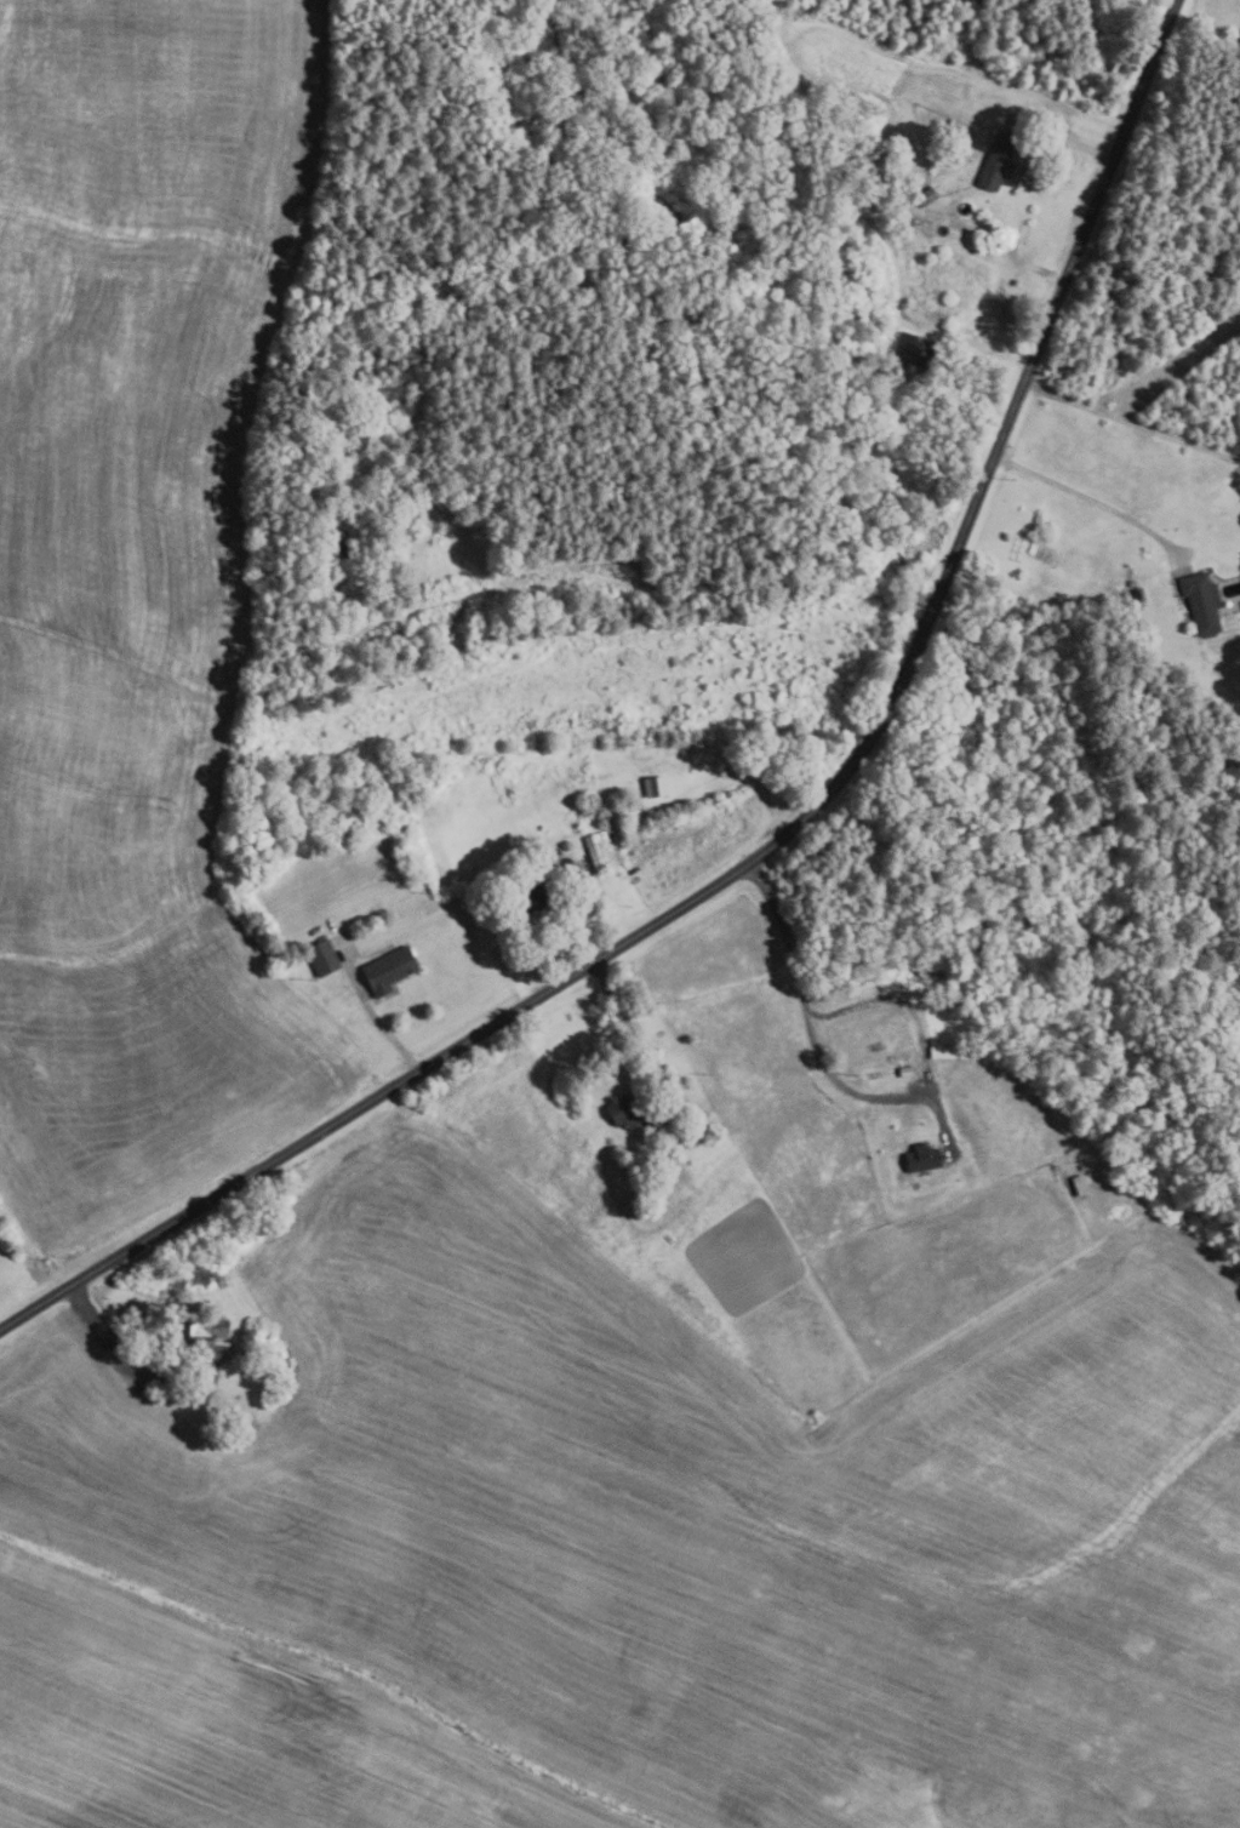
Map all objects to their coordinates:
building: (994, 164)
building: (924, 196)
building: (874, 333)
building: (912, 350)
road: (1130, 423)
road: (1091, 499)
building: (342, 547)
building: (1199, 602)
building: (1206, 699)
building: (657, 787)
building: (402, 827)
road: (784, 834)
building: (566, 845)
building: (602, 851)
building: (537, 896)
road: (584, 935)
building: (324, 959)
building: (389, 970)
road: (616, 1007)
road: (807, 1015)
road: (377, 1024)
building: (943, 1052)
building: (905, 1073)
building: (624, 1112)
building: (686, 1142)
building: (925, 1159)
building: (1081, 1186)
building: (199, 1338)
road: (121, 1360)
crop: (622, 1547)

